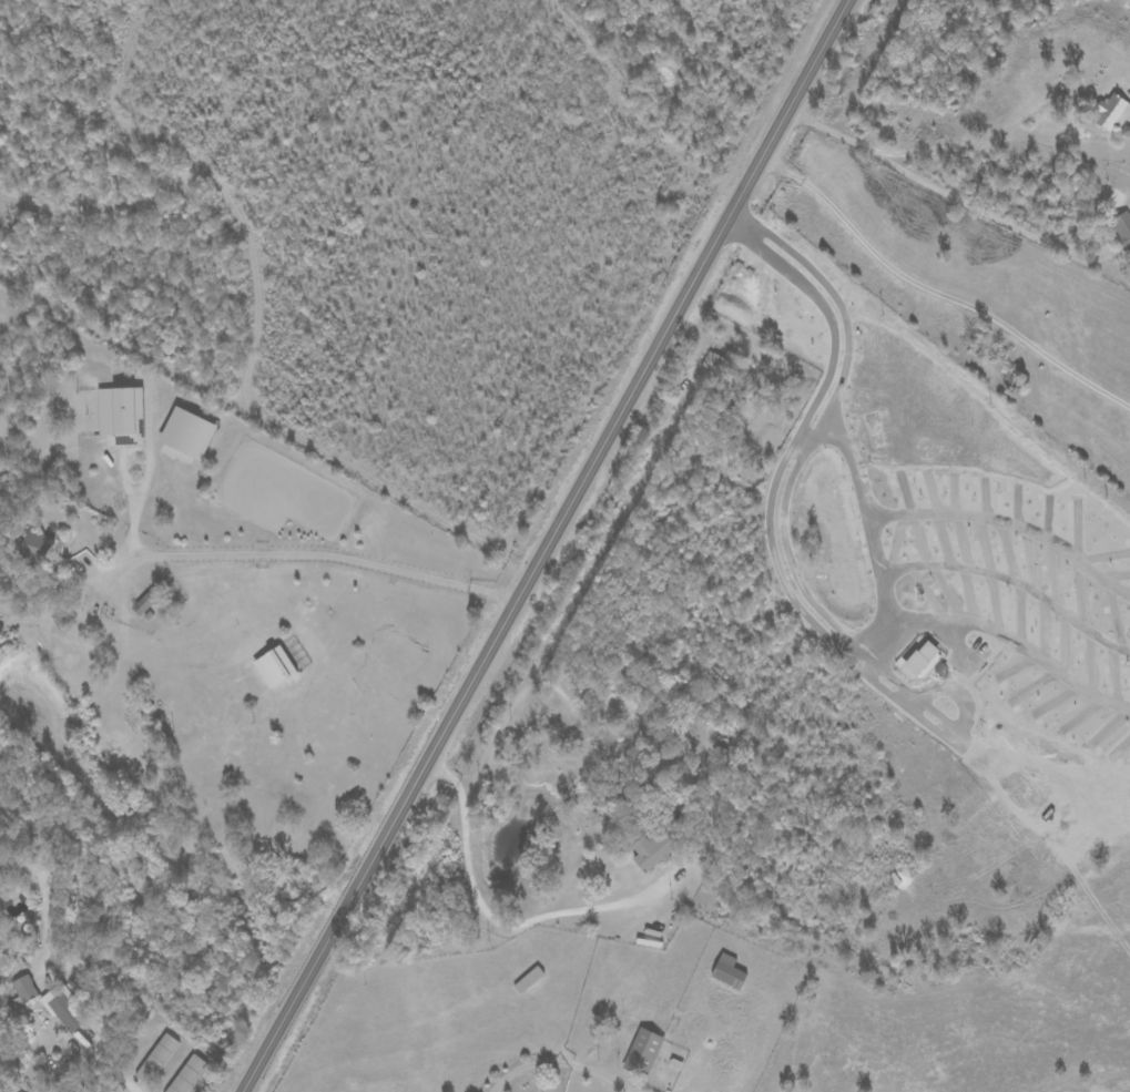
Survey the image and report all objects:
building: (1112, 112)
road: (827, 132)
road: (976, 144)
road: (963, 204)
building: (1122, 228)
building: (713, 361)
building: (121, 414)
building: (189, 433)
building: (37, 545)
road: (540, 545)
road: (305, 554)
building: (275, 666)
building: (654, 850)
road: (479, 901)
building: (21, 990)
building: (65, 1012)
building: (643, 1052)
building: (156, 1059)
road: (532, 1064)
building: (186, 1074)
road: (126, 1084)

